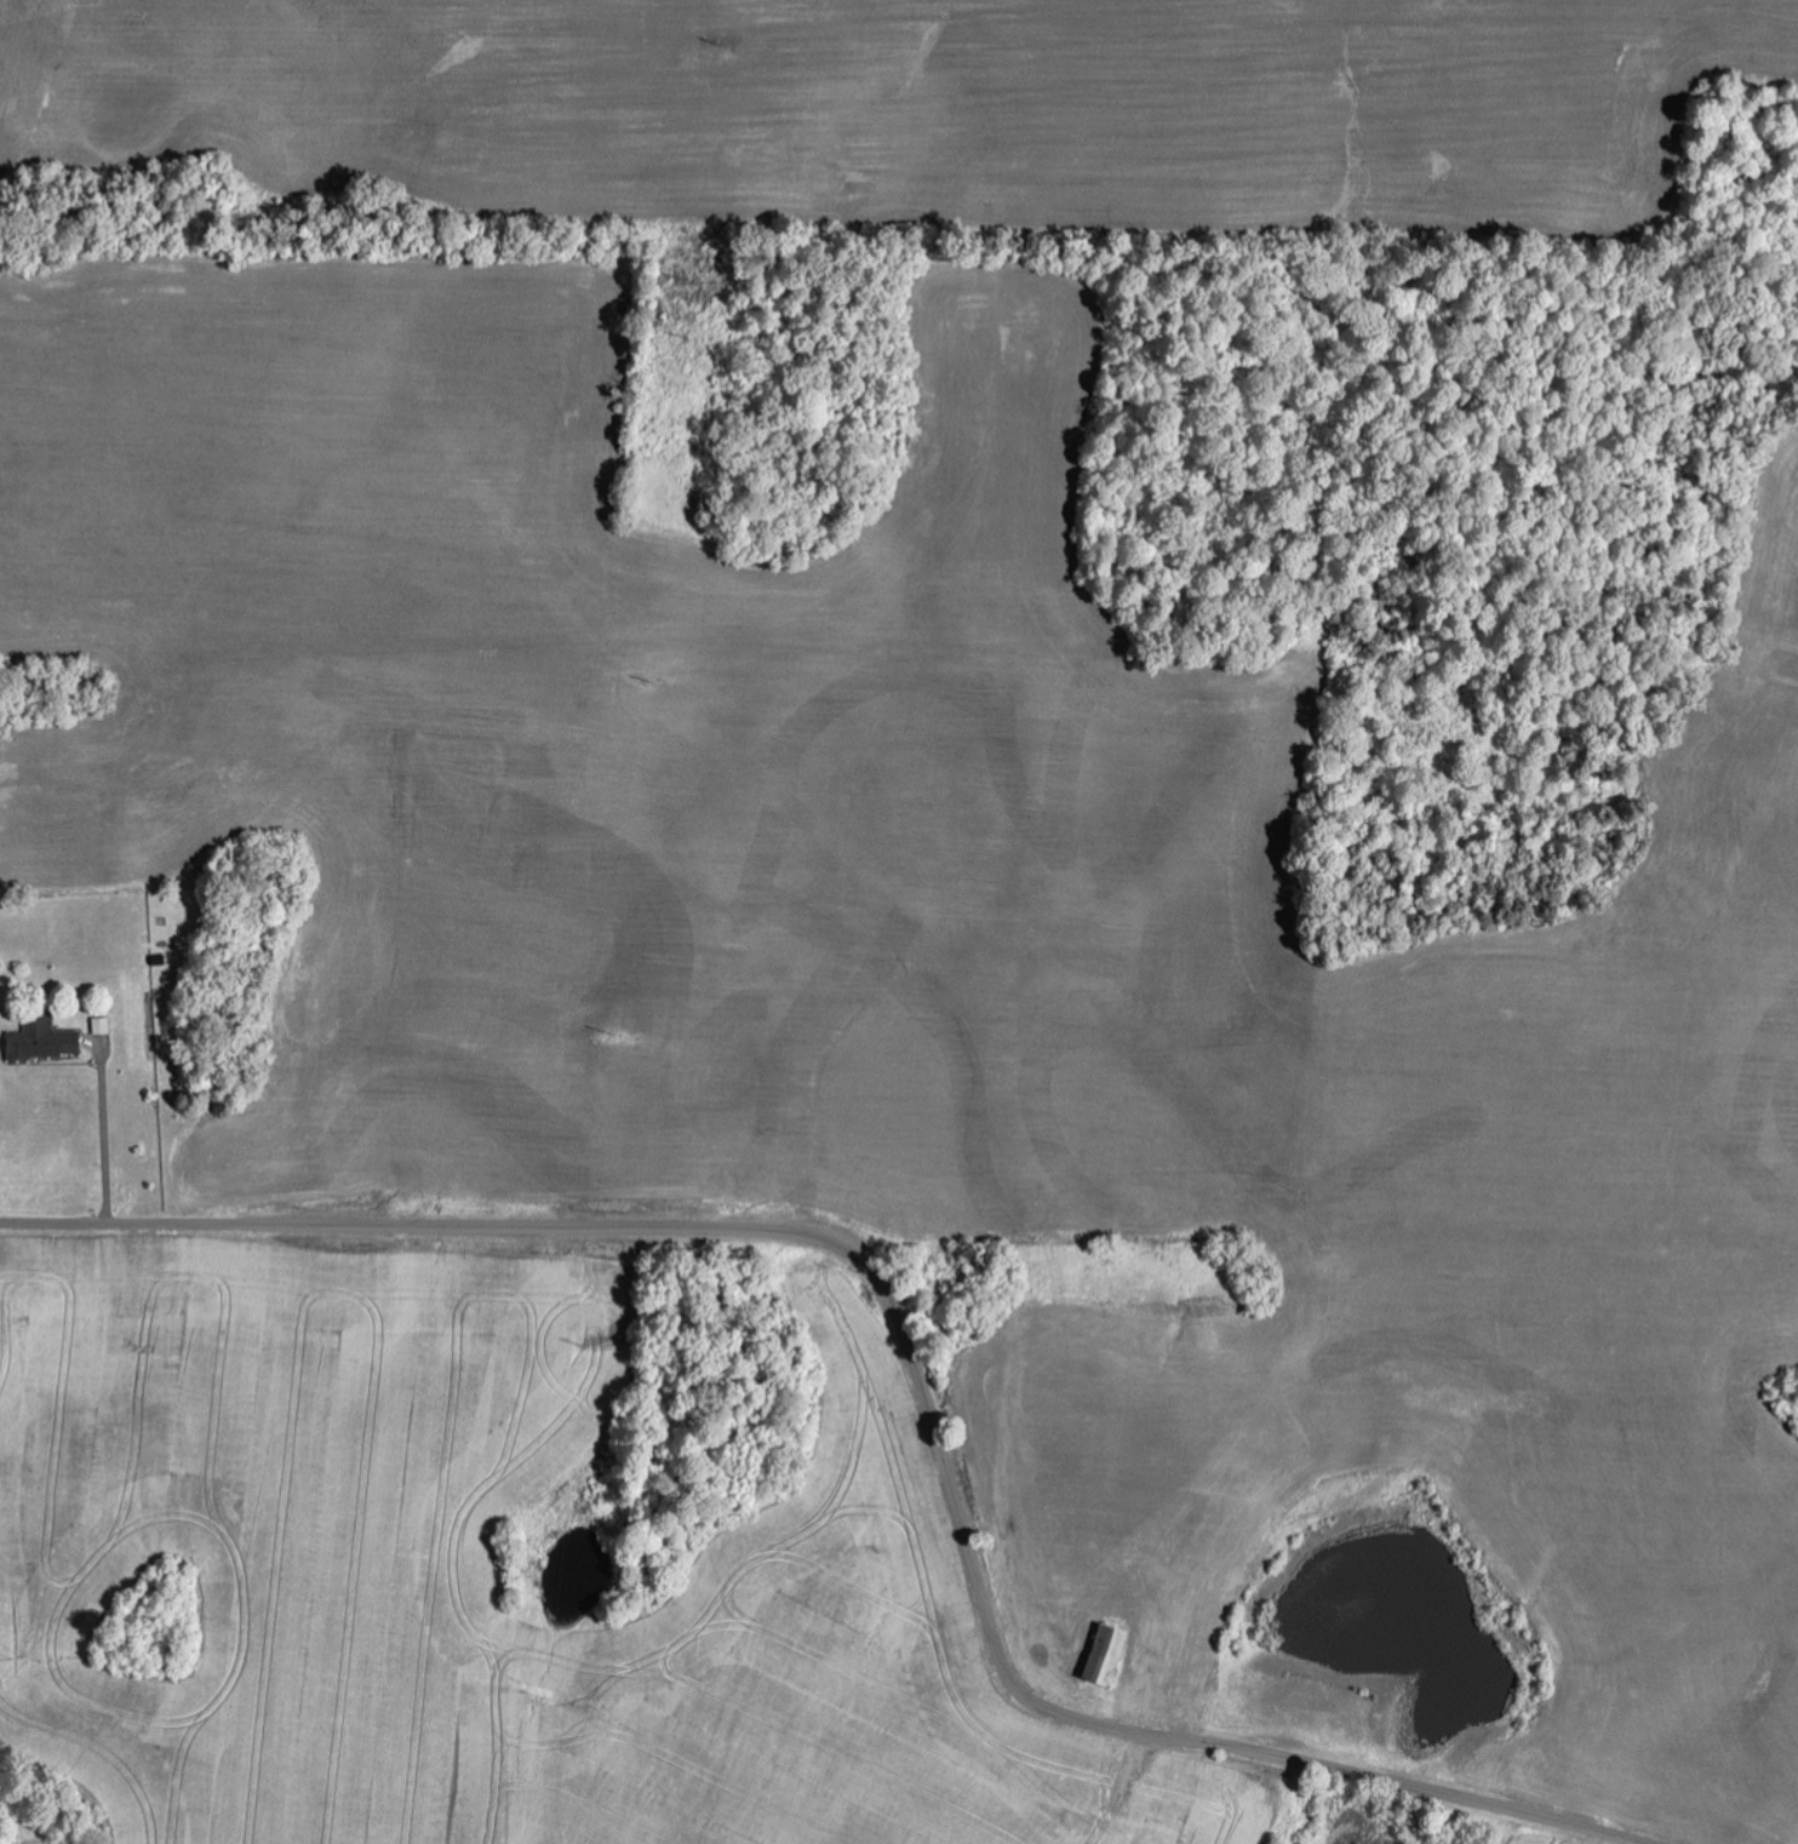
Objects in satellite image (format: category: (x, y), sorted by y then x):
building: (45, 1038)
road: (917, 1359)
building: (1110, 1654)

